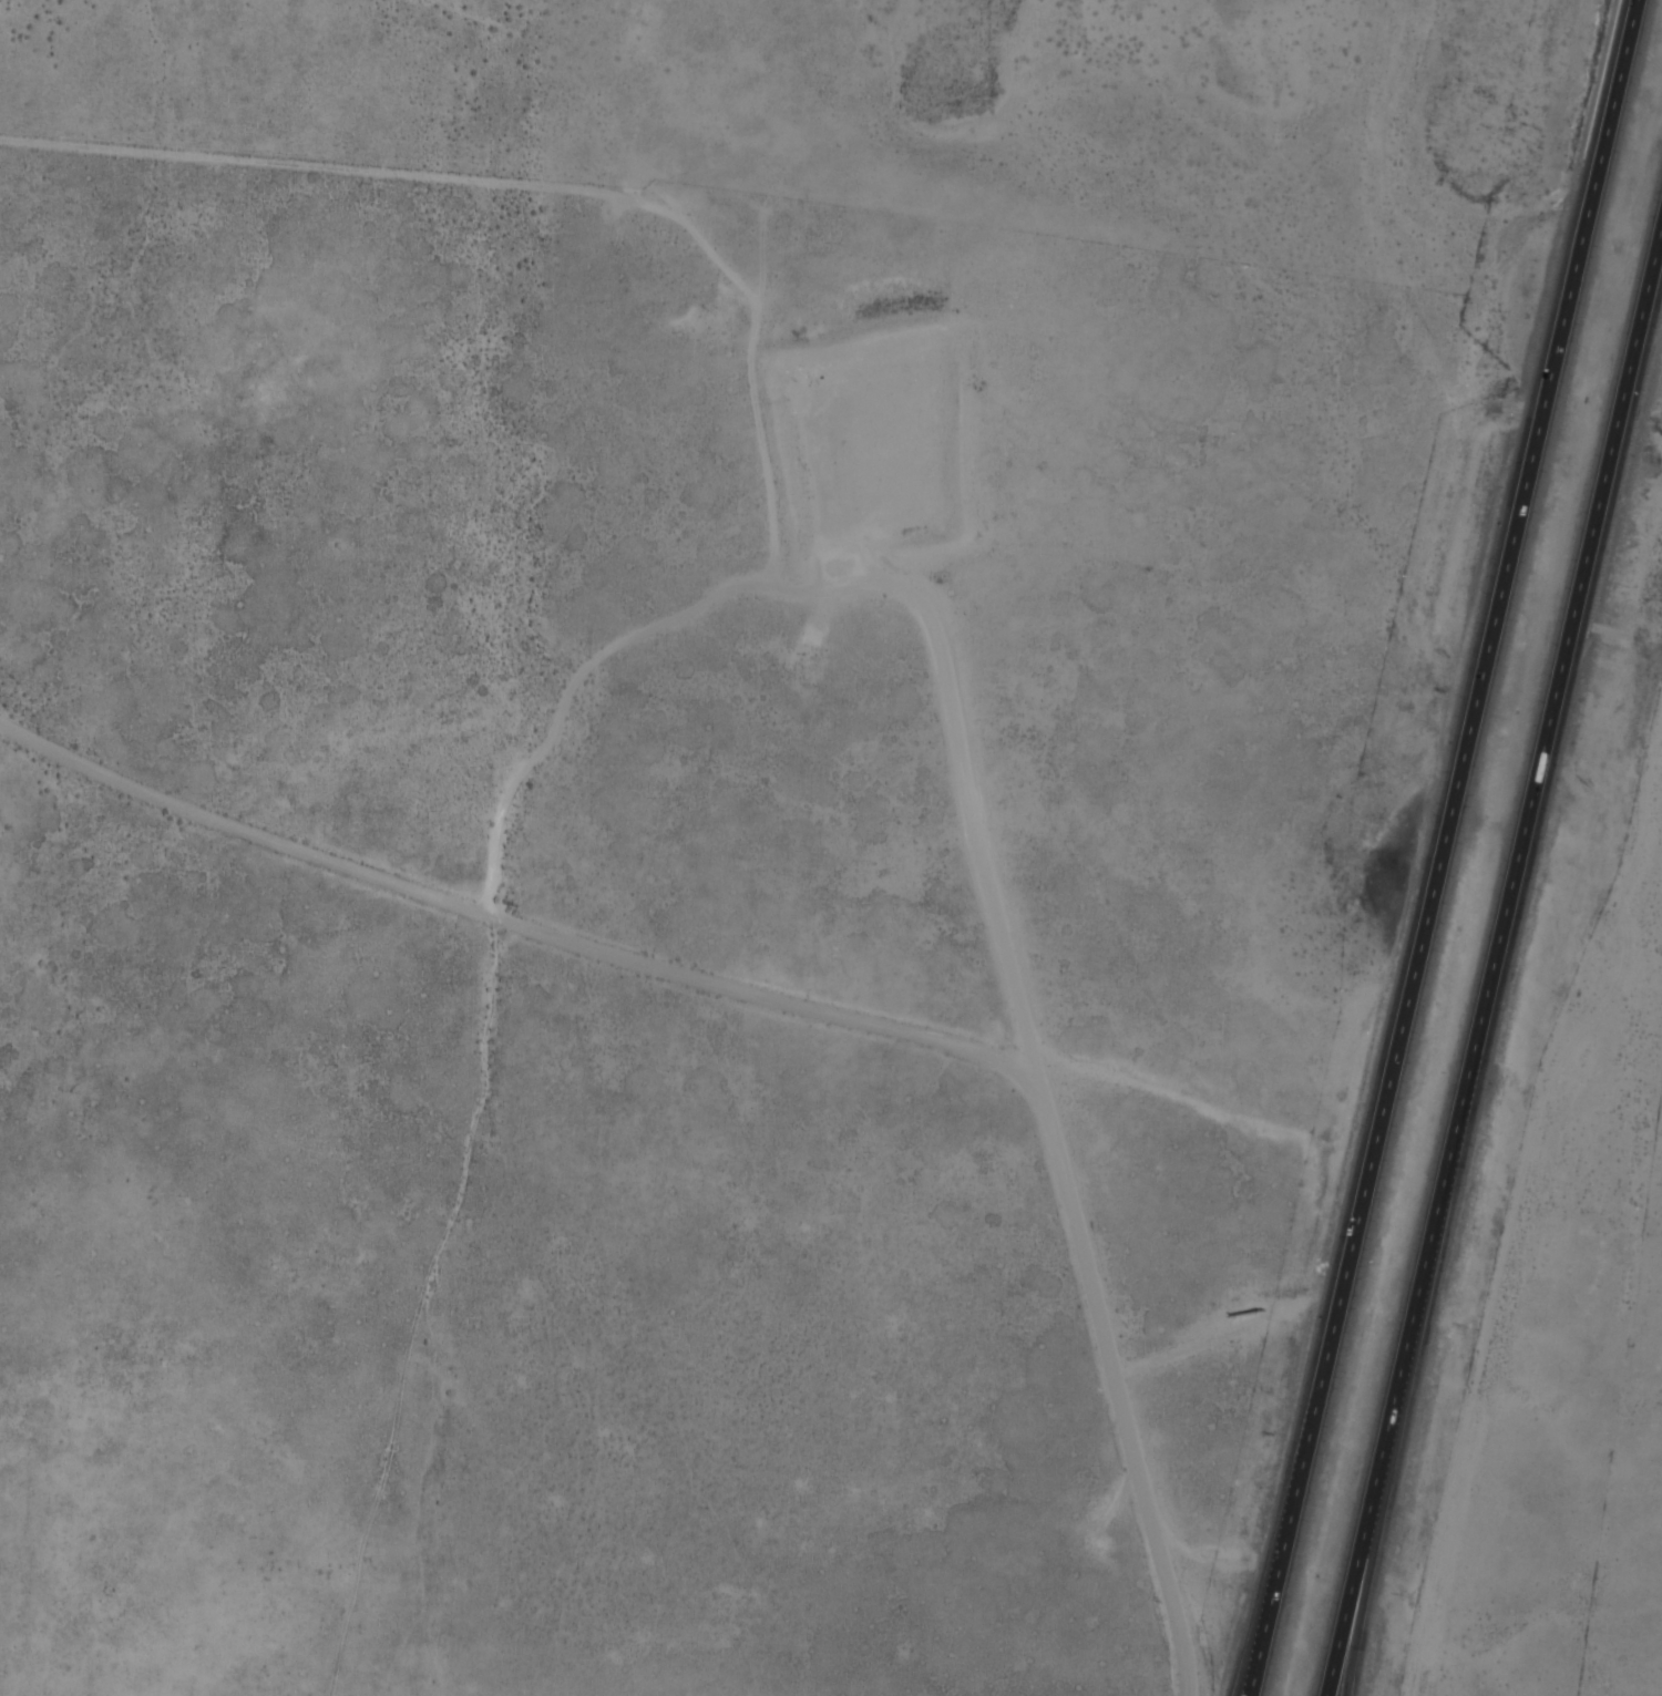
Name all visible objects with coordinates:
road: (1444, 847)
road: (1498, 974)
road: (1259, 1631)
road: (1341, 1678)

